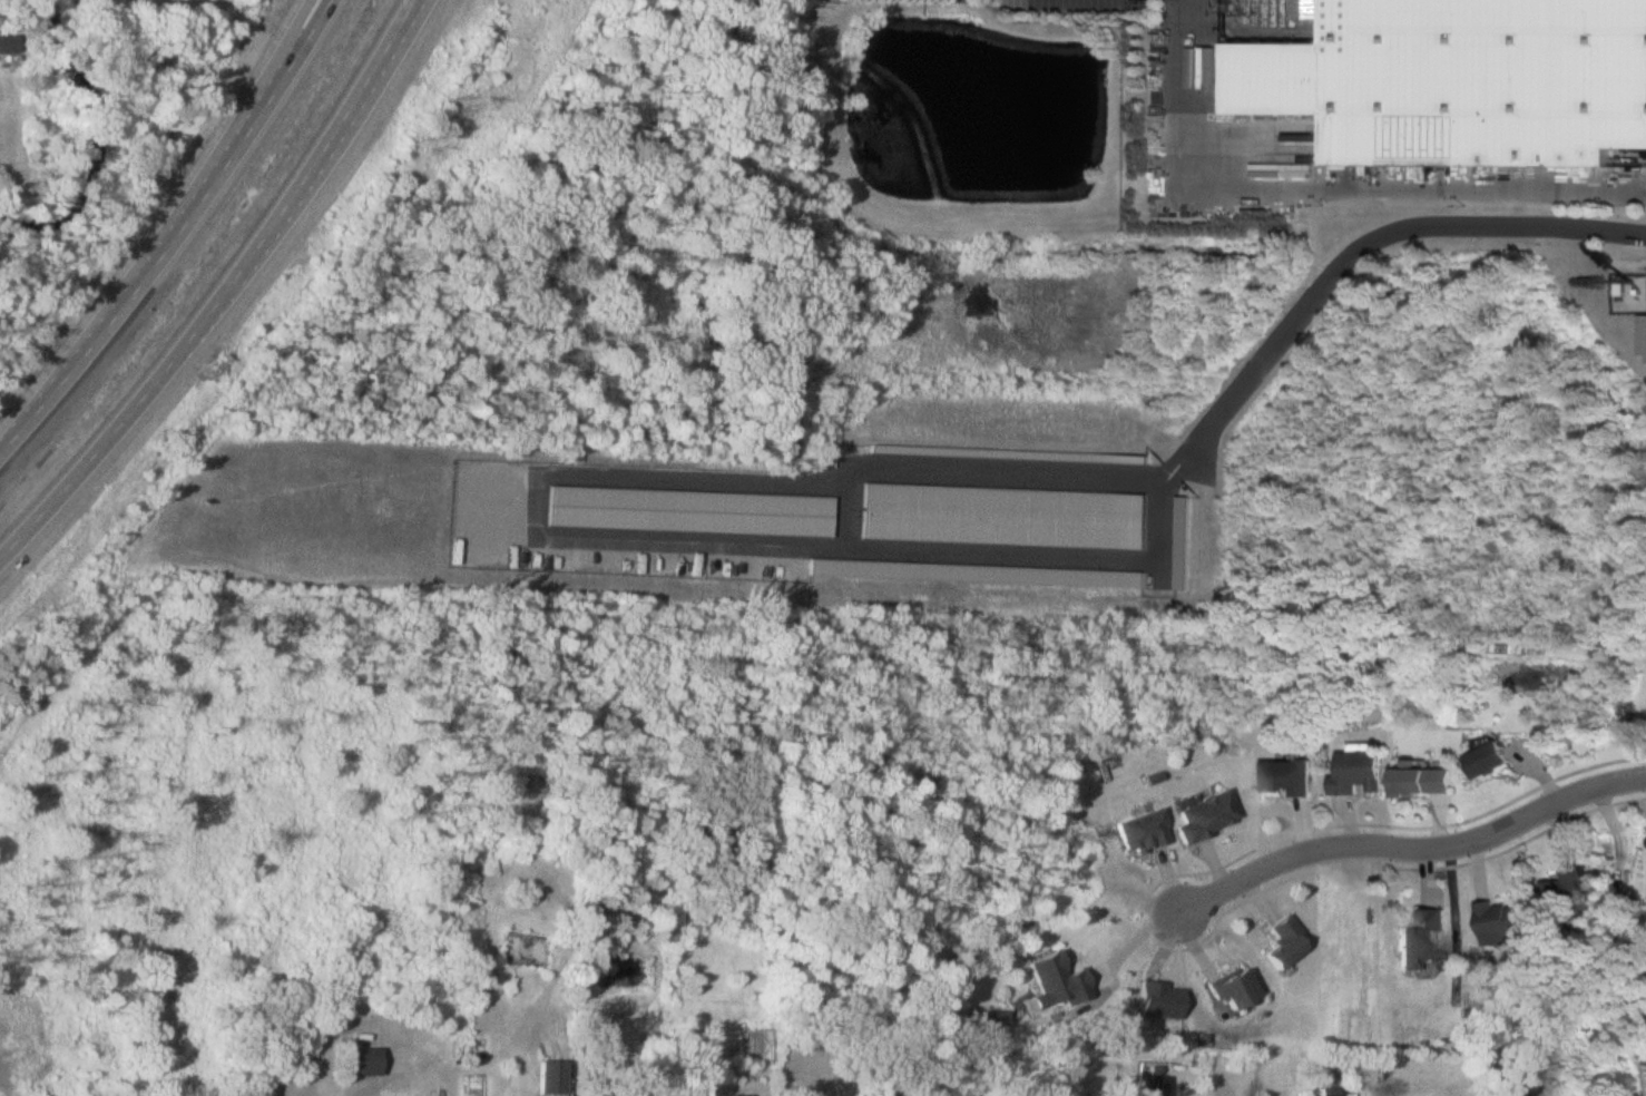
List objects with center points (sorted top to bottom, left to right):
building: (9, 43)
road: (280, 59)
building: (1456, 80)
river: (102, 143)
road: (1332, 178)
road: (173, 231)
road: (1354, 249)
road: (219, 292)
road: (493, 506)
road: (852, 550)
building: (1488, 757)
building: (1359, 771)
building: (1286, 776)
building: (1423, 779)
building: (1204, 813)
building: (1139, 830)
road: (1489, 836)
road: (1248, 878)
building: (1562, 889)
building: (1498, 922)
building: (1420, 938)
building: (1283, 941)
building: (1058, 978)
building: (1233, 988)
building: (1159, 999)
building: (696, 1053)
building: (361, 1061)
building: (547, 1075)
building: (1152, 1085)
building: (1532, 1086)
road: (380, 1088)
building: (435, 1092)

